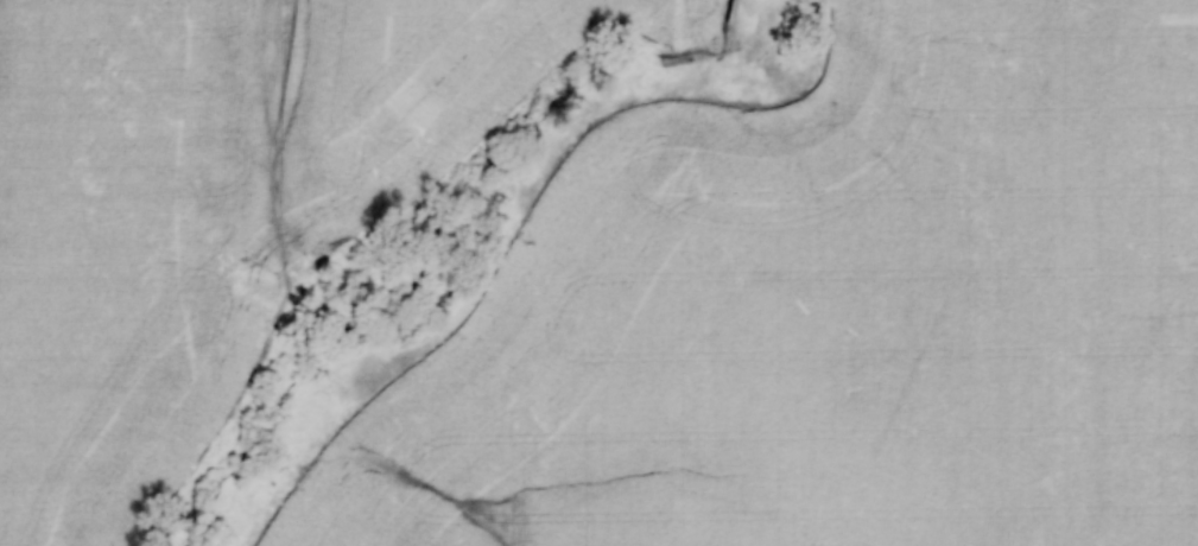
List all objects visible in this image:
crop: (420, 95)
crop: (127, 253)
crop: (826, 311)

